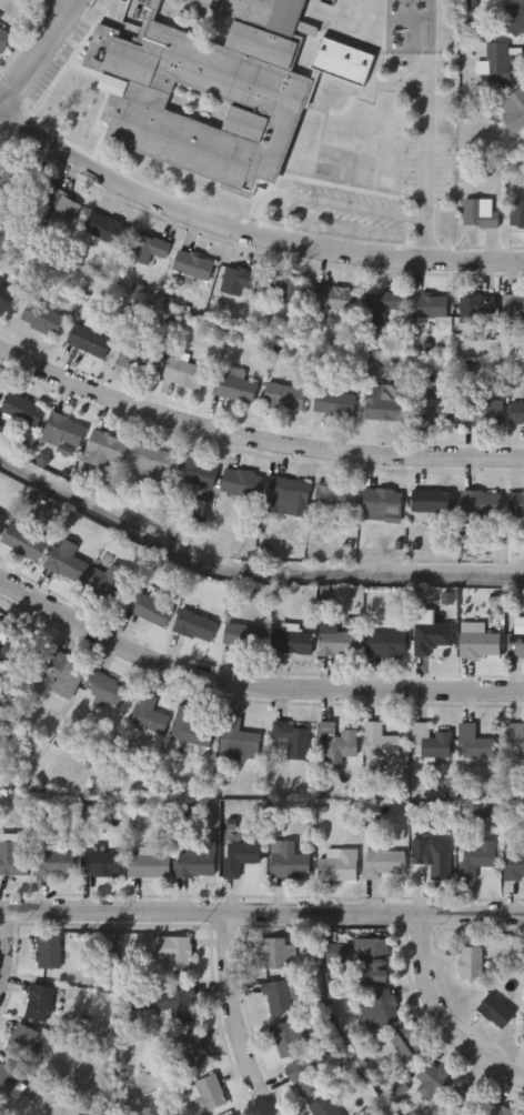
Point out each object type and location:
building: (353, 14)
building: (514, 19)
building: (4, 40)
road: (41, 54)
building: (342, 60)
building: (497, 64)
building: (206, 90)
building: (515, 112)
building: (396, 130)
building: (350, 137)
road: (429, 142)
building: (322, 173)
building: (377, 183)
road: (352, 207)
building: (62, 211)
building: (481, 214)
building: (517, 215)
building: (105, 229)
road: (246, 239)
building: (149, 250)
building: (193, 267)
building: (240, 281)
building: (285, 292)
building: (333, 299)
building: (9, 301)
building: (429, 307)
building: (476, 309)
building: (380, 310)
building: (514, 310)
building: (42, 320)
building: (88, 340)
building: (139, 359)
building: (184, 374)
building: (0, 388)
building: (235, 388)
building: (284, 396)
building: (335, 403)
building: (384, 406)
building: (22, 410)
building: (437, 411)
building: (484, 411)
building: (64, 431)
road: (253, 441)
building: (105, 450)
building: (153, 464)
building: (195, 475)
building: (243, 484)
building: (288, 498)
building: (335, 499)
building: (433, 502)
building: (383, 503)
building: (482, 503)
building: (517, 504)
building: (2, 519)
building: (24, 543)
building: (68, 562)
building: (111, 584)
building: (151, 611)
building: (2, 623)
building: (196, 626)
building: (244, 637)
building: (433, 637)
building: (478, 642)
building: (292, 643)
building: (387, 644)
building: (340, 645)
building: (516, 646)
building: (65, 675)
building: (0, 679)
road: (249, 687)
building: (105, 690)
building: (149, 715)
building: (190, 729)
building: (294, 740)
building: (238, 741)
building: (339, 741)
building: (380, 741)
building: (432, 742)
building: (515, 743)
building: (475, 744)
building: (242, 856)
building: (477, 857)
building: (434, 860)
building: (13, 861)
building: (290, 863)
building: (102, 864)
building: (196, 864)
building: (56, 865)
building: (340, 865)
building: (384, 865)
building: (150, 867)
building: (514, 867)
road: (261, 911)
road: (1, 931)
building: (48, 951)
building: (275, 951)
building: (173, 952)
building: (337, 953)
building: (372, 960)
building: (470, 962)
building: (278, 996)
building: (40, 1001)
building: (177, 1003)
building: (379, 1008)
building: (495, 1009)
road: (447, 1013)
road: (224, 1017)
building: (523, 1037)
building: (285, 1038)
building: (22, 1039)
building: (523, 1041)
building: (407, 1043)
building: (193, 1048)
building: (304, 1076)
building: (434, 1077)
building: (8, 1079)
building: (205, 1092)
building: (468, 1101)
building: (324, 1106)
building: (504, 1111)

